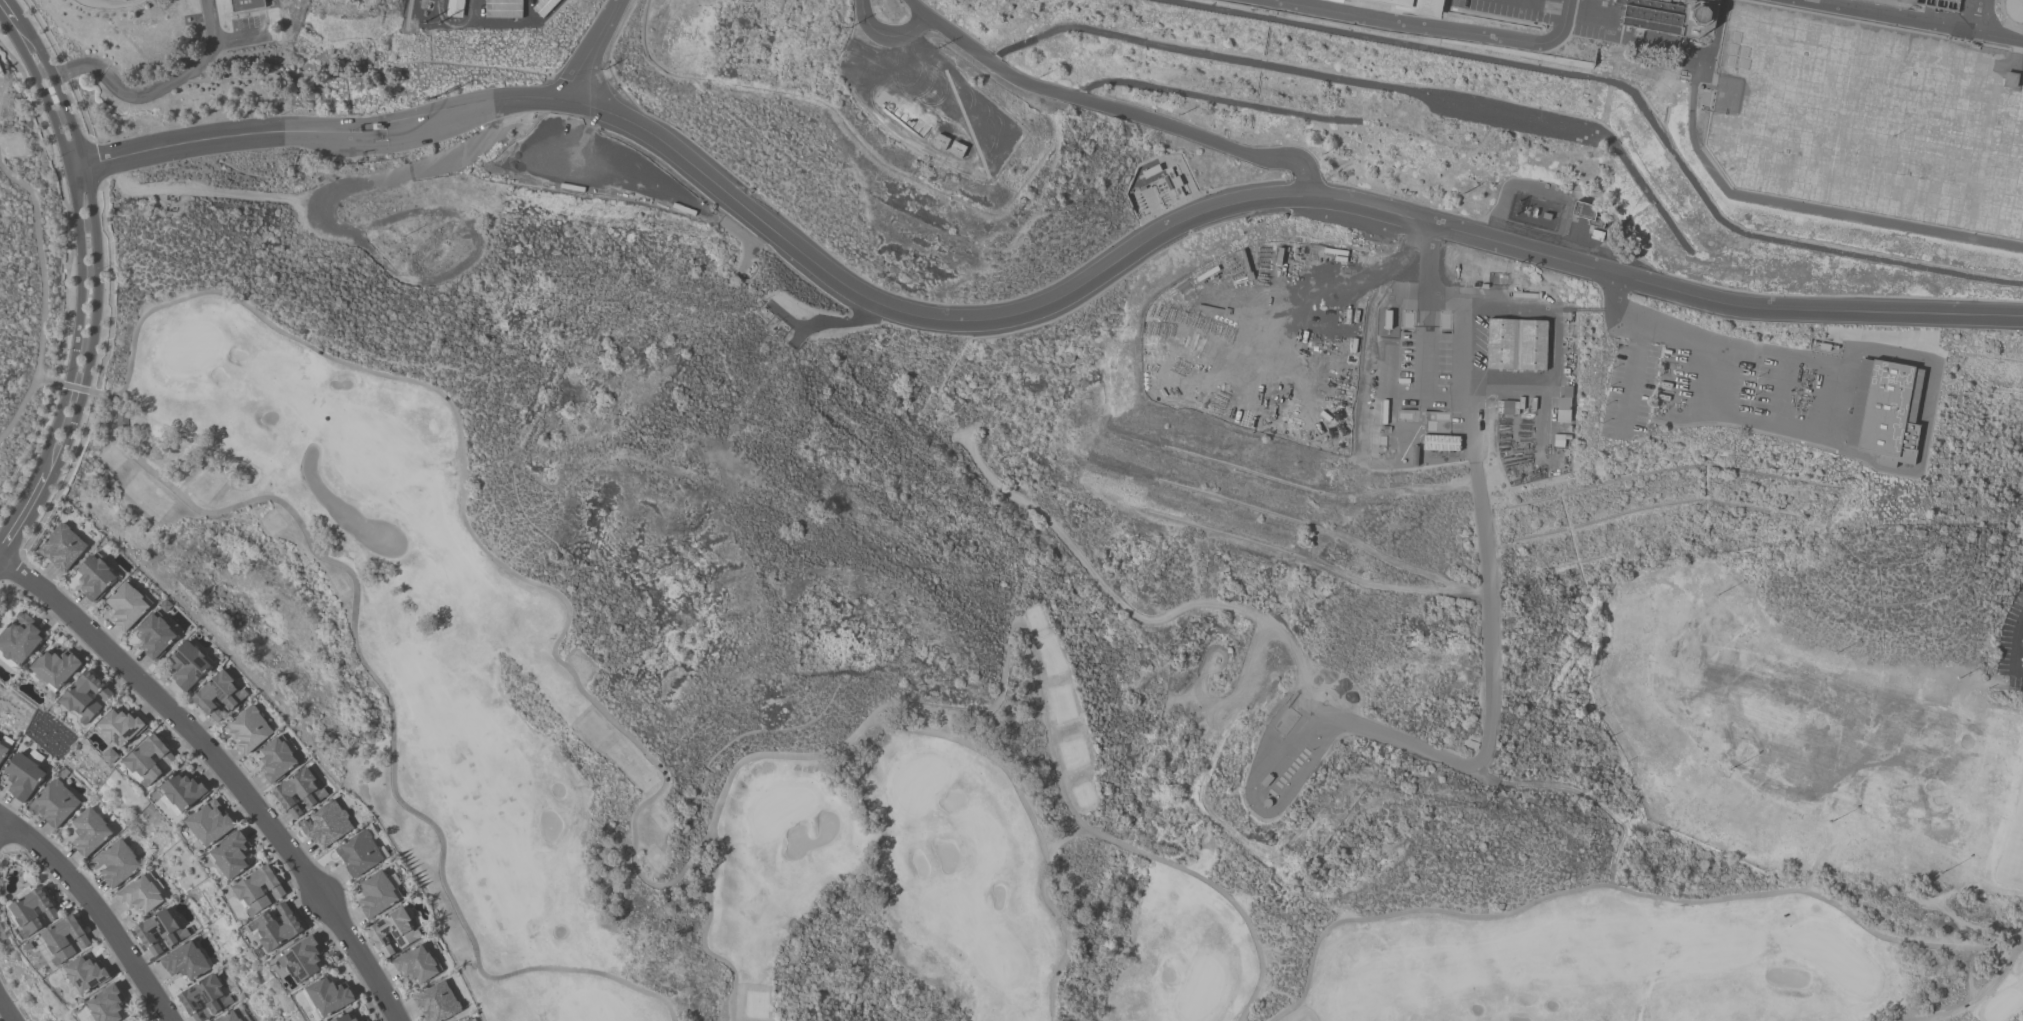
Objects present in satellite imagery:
road: (90, 2)
road: (109, 7)
building: (457, 9)
building: (1311, 9)
building: (505, 10)
building: (2013, 10)
road: (5, 16)
road: (1982, 17)
road: (1904, 21)
building: (1654, 22)
road: (884, 31)
road: (594, 48)
road: (133, 99)
road: (1104, 111)
road: (329, 135)
road: (1258, 203)
building: (1585, 211)
road: (88, 244)
road: (822, 324)
building: (1518, 346)
road: (1636, 349)
road: (1555, 361)
road: (73, 387)
road: (1465, 387)
road: (1832, 387)
building: (1564, 407)
building: (1887, 412)
building: (1436, 423)
building: (1436, 445)
road: (24, 515)
building: (64, 550)
road: (0, 554)
building: (96, 580)
road: (1488, 585)
building: (127, 607)
road: (2019, 627)
building: (155, 637)
building: (21, 641)
road: (2014, 655)
building: (190, 668)
building: (57, 669)
building: (87, 698)
building: (220, 698)
building: (121, 729)
building: (263, 745)
building: (4, 747)
park: (983, 757)
building: (150, 761)
road: (224, 767)
building: (24, 779)
building: (185, 793)
building: (301, 793)
building: (56, 805)
building: (211, 825)
building: (328, 826)
road: (4, 832)
building: (89, 832)
building: (360, 855)
building: (232, 856)
building: (118, 865)
building: (259, 891)
building: (141, 895)
building: (378, 895)
road: (96, 911)
building: (35, 912)
building: (276, 929)
building: (162, 932)
building: (395, 933)
building: (66, 940)
building: (186, 962)
building: (303, 962)
building: (418, 965)
building: (87, 975)
building: (329, 998)
building: (206, 999)
building: (439, 1003)
building: (108, 1006)
road: (7, 1011)
building: (231, 1016)
building: (346, 1018)
building: (369, 1020)
building: (473, 1020)

